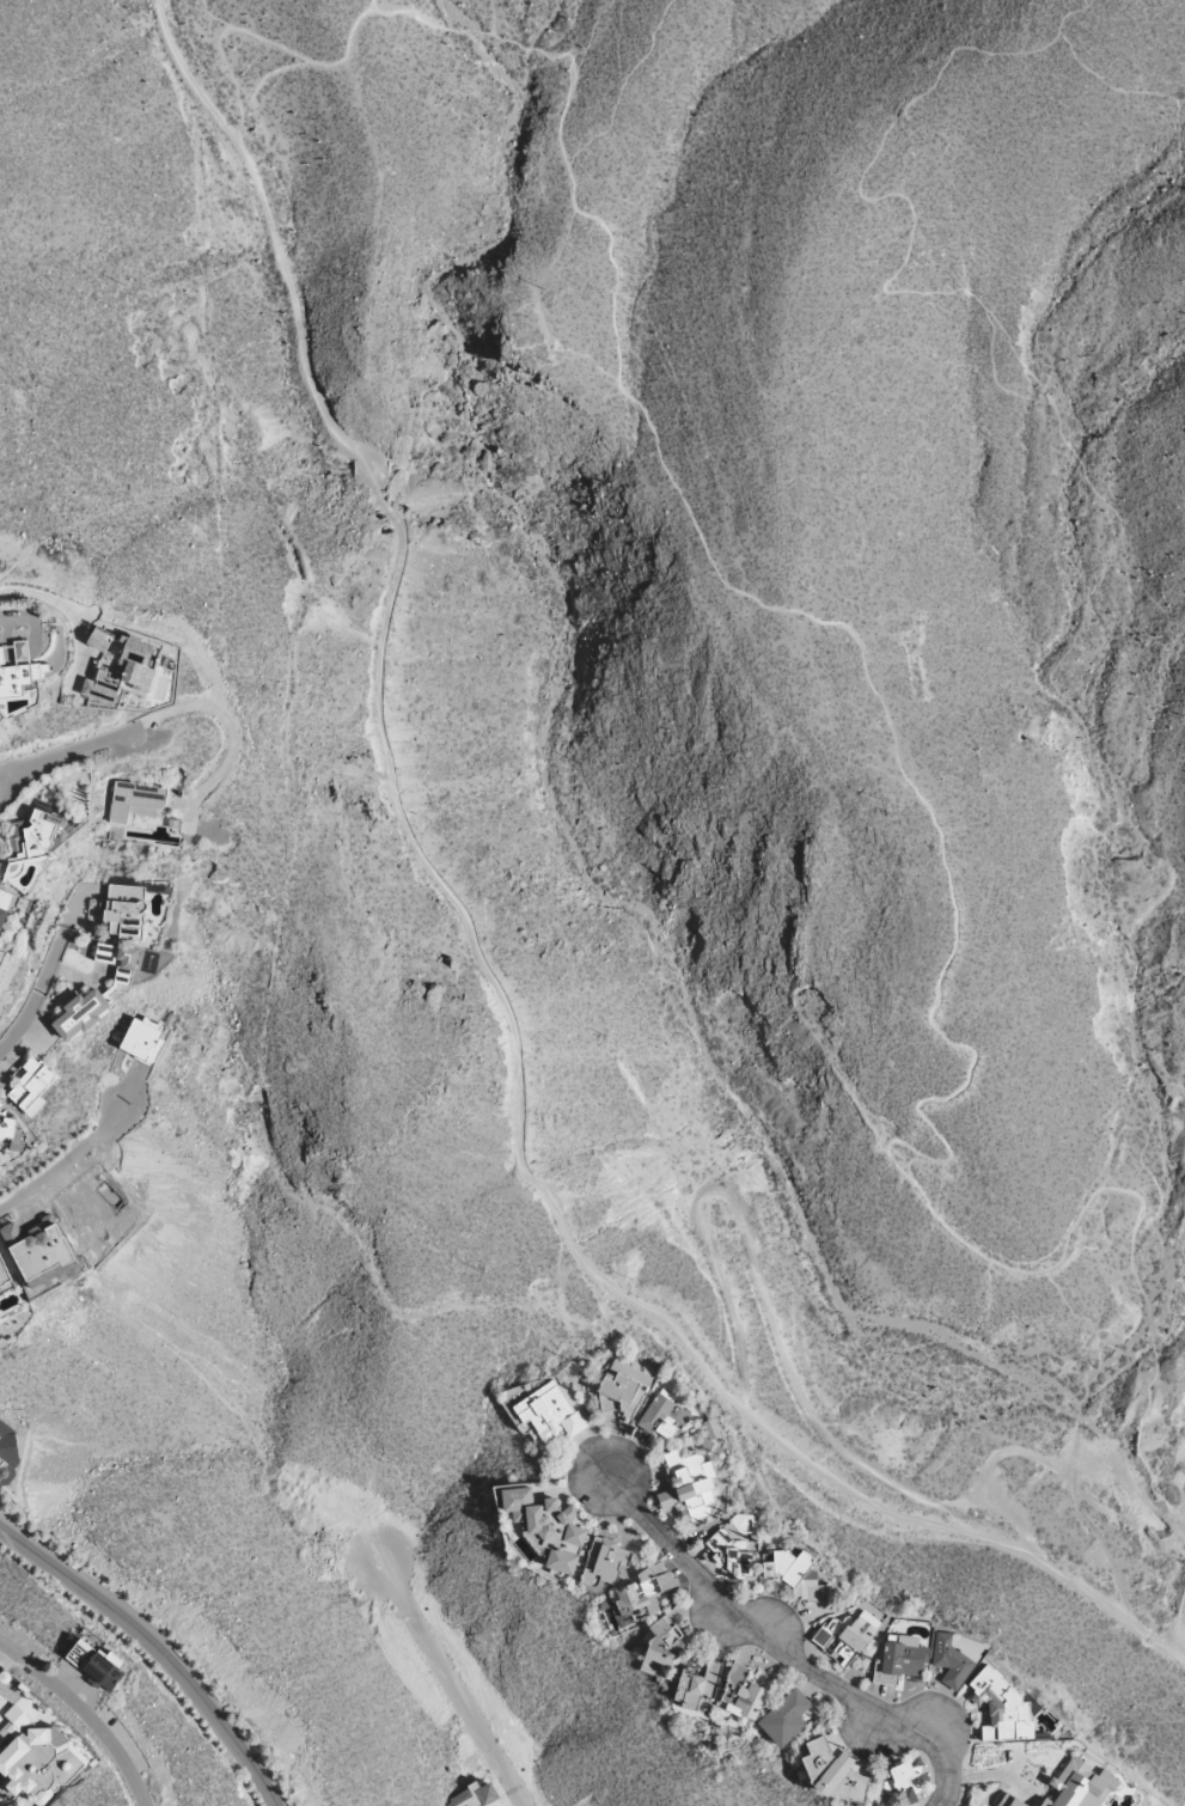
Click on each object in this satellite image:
road: (1086, 2)
road: (495, 18)
road: (259, 36)
road: (267, 75)
road: (623, 87)
road: (992, 373)
road: (1080, 463)
building: (120, 665)
building: (19, 671)
road: (232, 732)
road: (61, 757)
road: (12, 779)
building: (134, 799)
building: (33, 836)
building: (0, 859)
road: (946, 873)
building: (6, 905)
building: (126, 910)
building: (118, 960)
road: (484, 963)
road: (39, 996)
building: (83, 1013)
building: (145, 1038)
building: (32, 1086)
building: (11, 1133)
road: (69, 1163)
building: (37, 1249)
building: (4, 1276)
road: (774, 1322)
building: (624, 1386)
building: (549, 1411)
building: (662, 1417)
building: (0, 1439)
road: (1134, 1439)
building: (2, 1468)
building: (690, 1489)
building: (543, 1518)
building: (732, 1555)
building: (561, 1561)
building: (604, 1561)
building: (796, 1575)
building: (635, 1600)
building: (848, 1631)
building: (661, 1647)
road: (158, 1648)
road: (781, 1651)
building: (952, 1658)
building: (899, 1659)
building: (94, 1665)
building: (737, 1672)
road: (451, 1683)
building: (696, 1685)
building: (747, 1701)
building: (1001, 1707)
road: (87, 1712)
building: (784, 1717)
building: (36, 1757)
building: (831, 1773)
building: (905, 1778)
building: (1080, 1786)
building: (472, 1796)
building: (1010, 1800)

